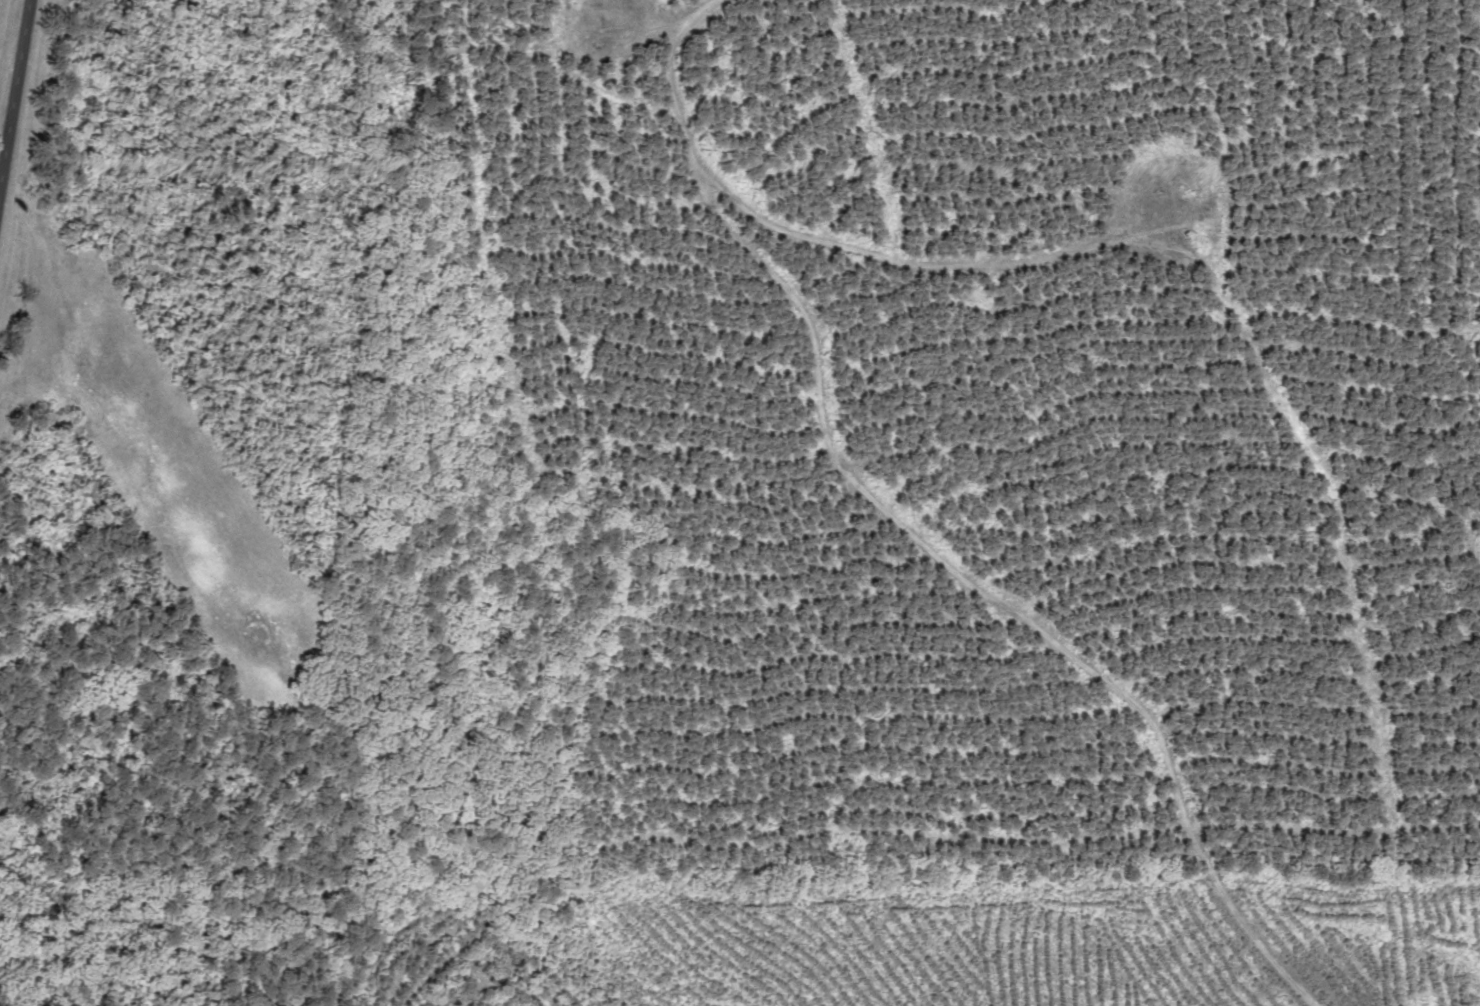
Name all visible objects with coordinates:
road: (13, 77)

